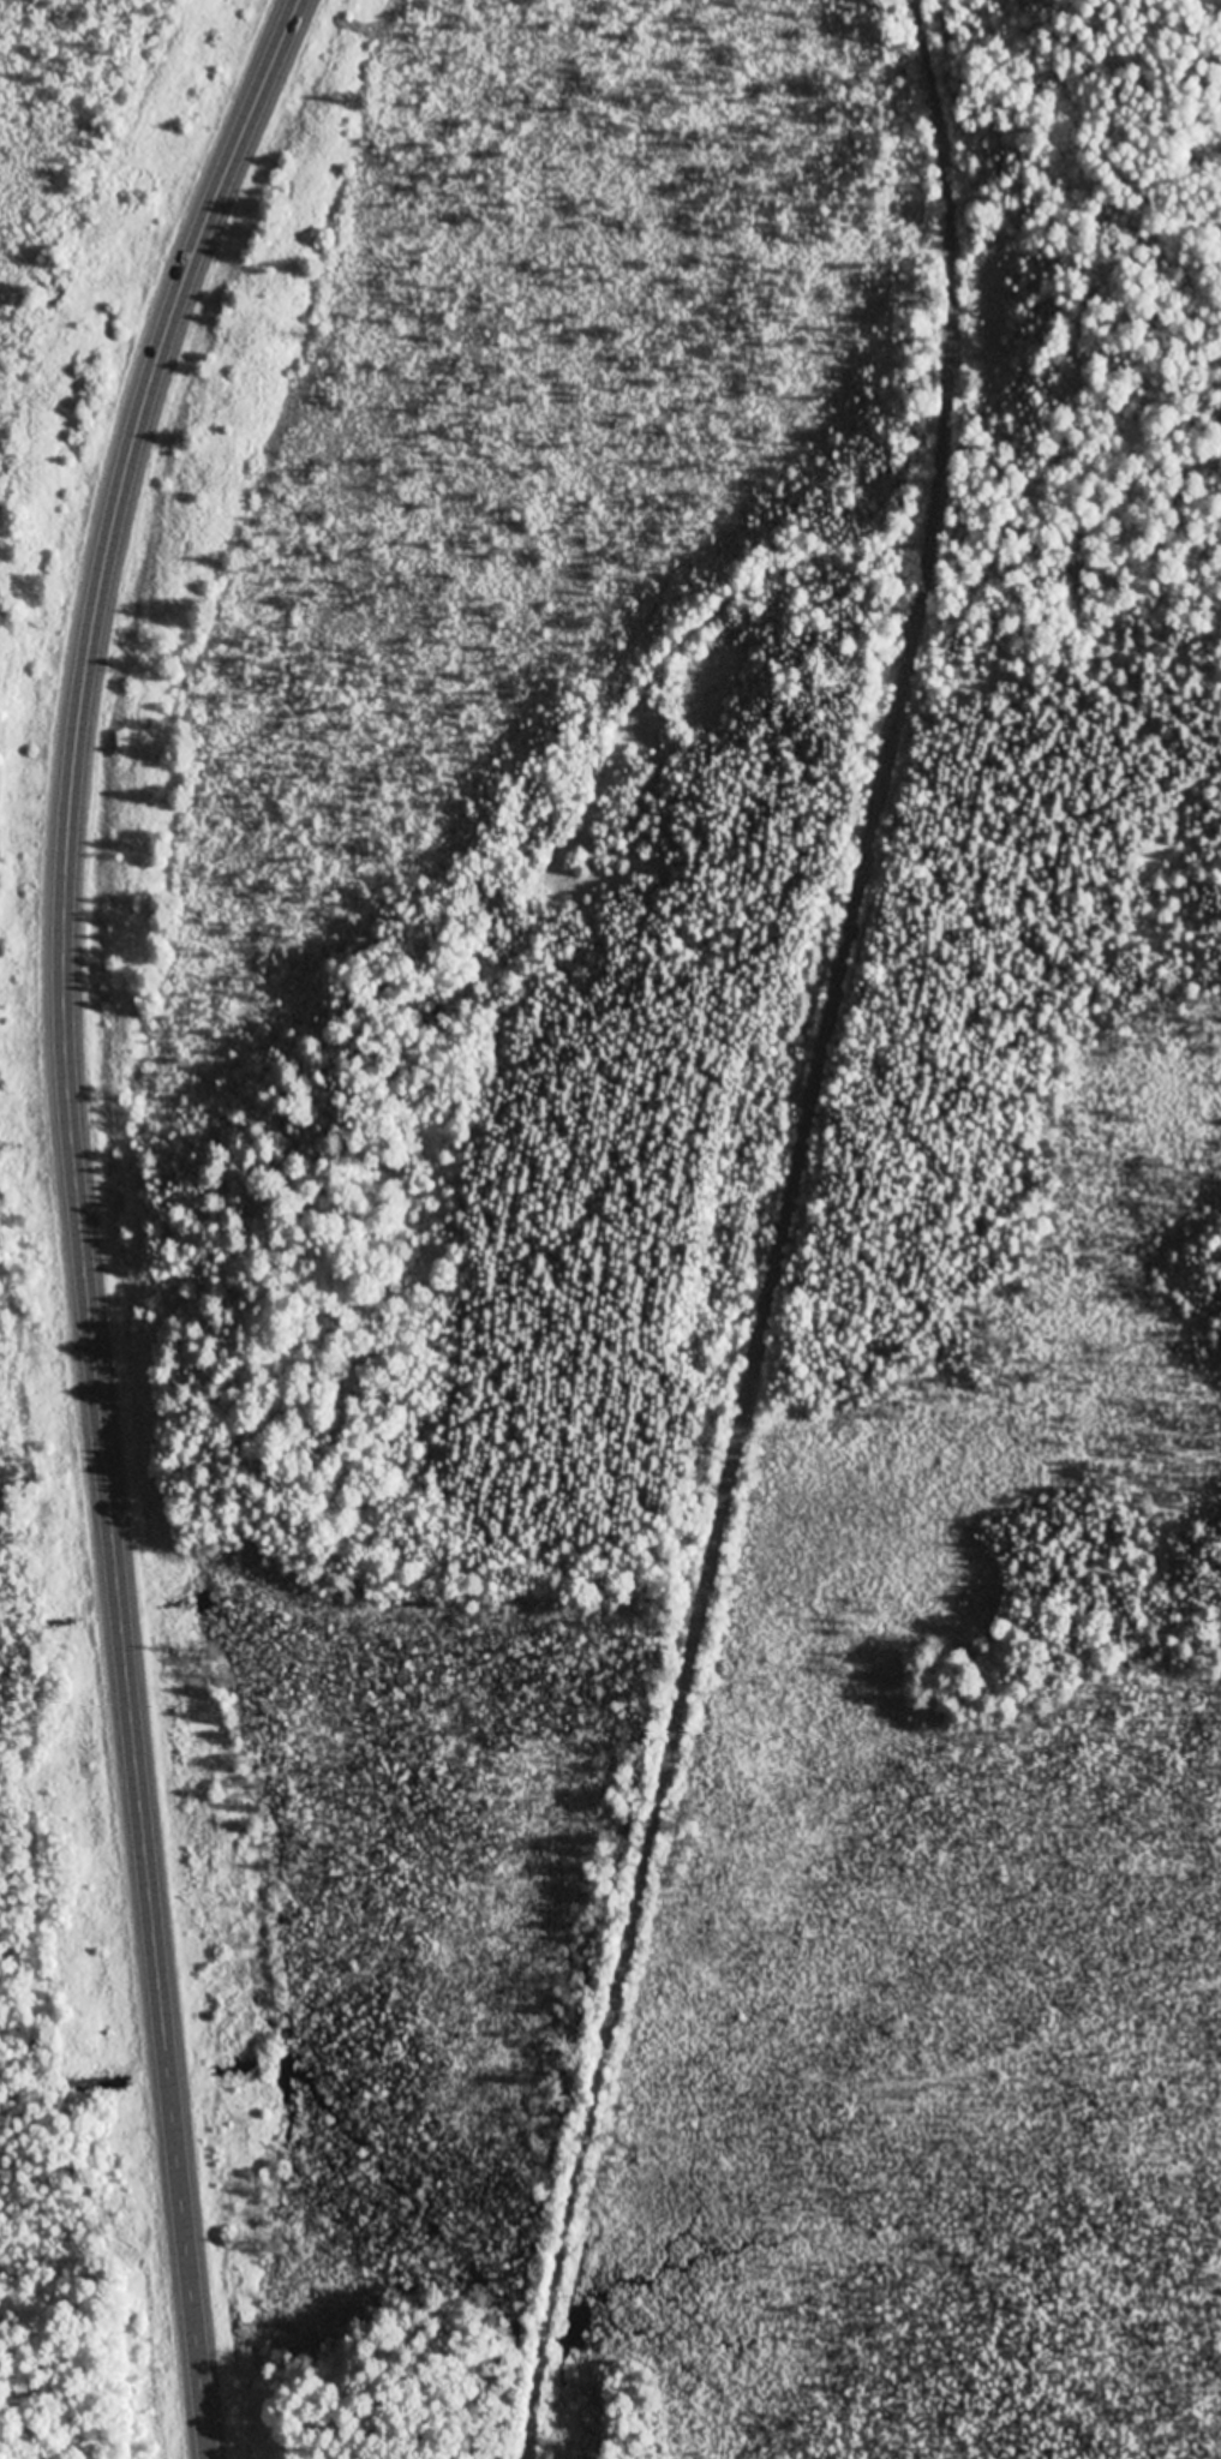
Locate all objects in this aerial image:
road: (933, 25)
road: (998, 259)
road: (77, 1214)
road: (766, 1300)

